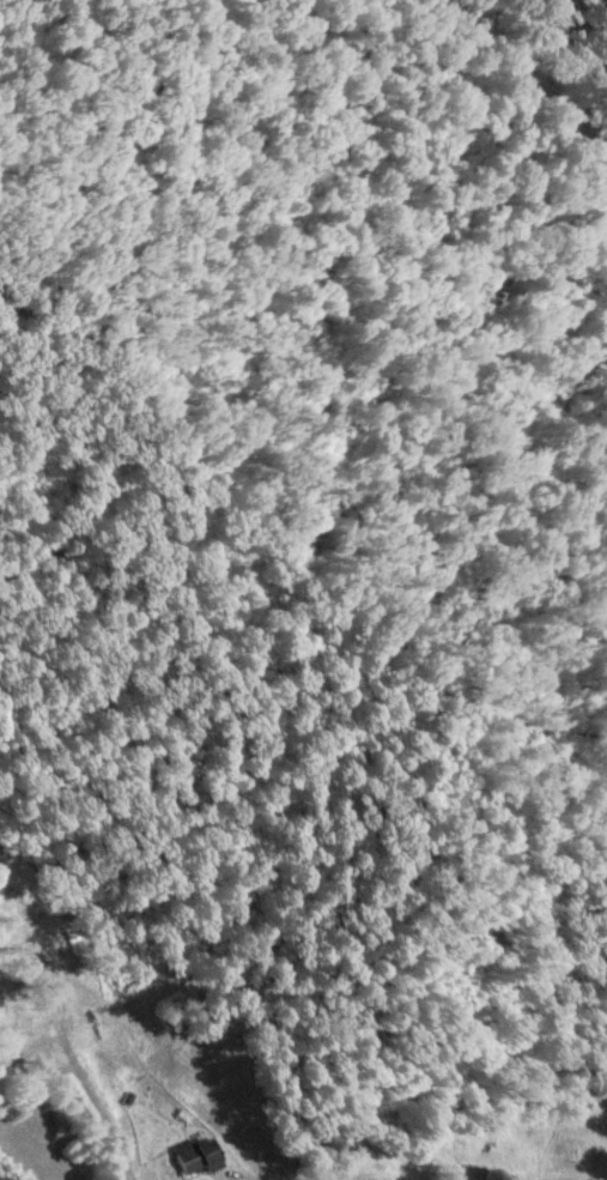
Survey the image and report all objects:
building: (204, 1154)

